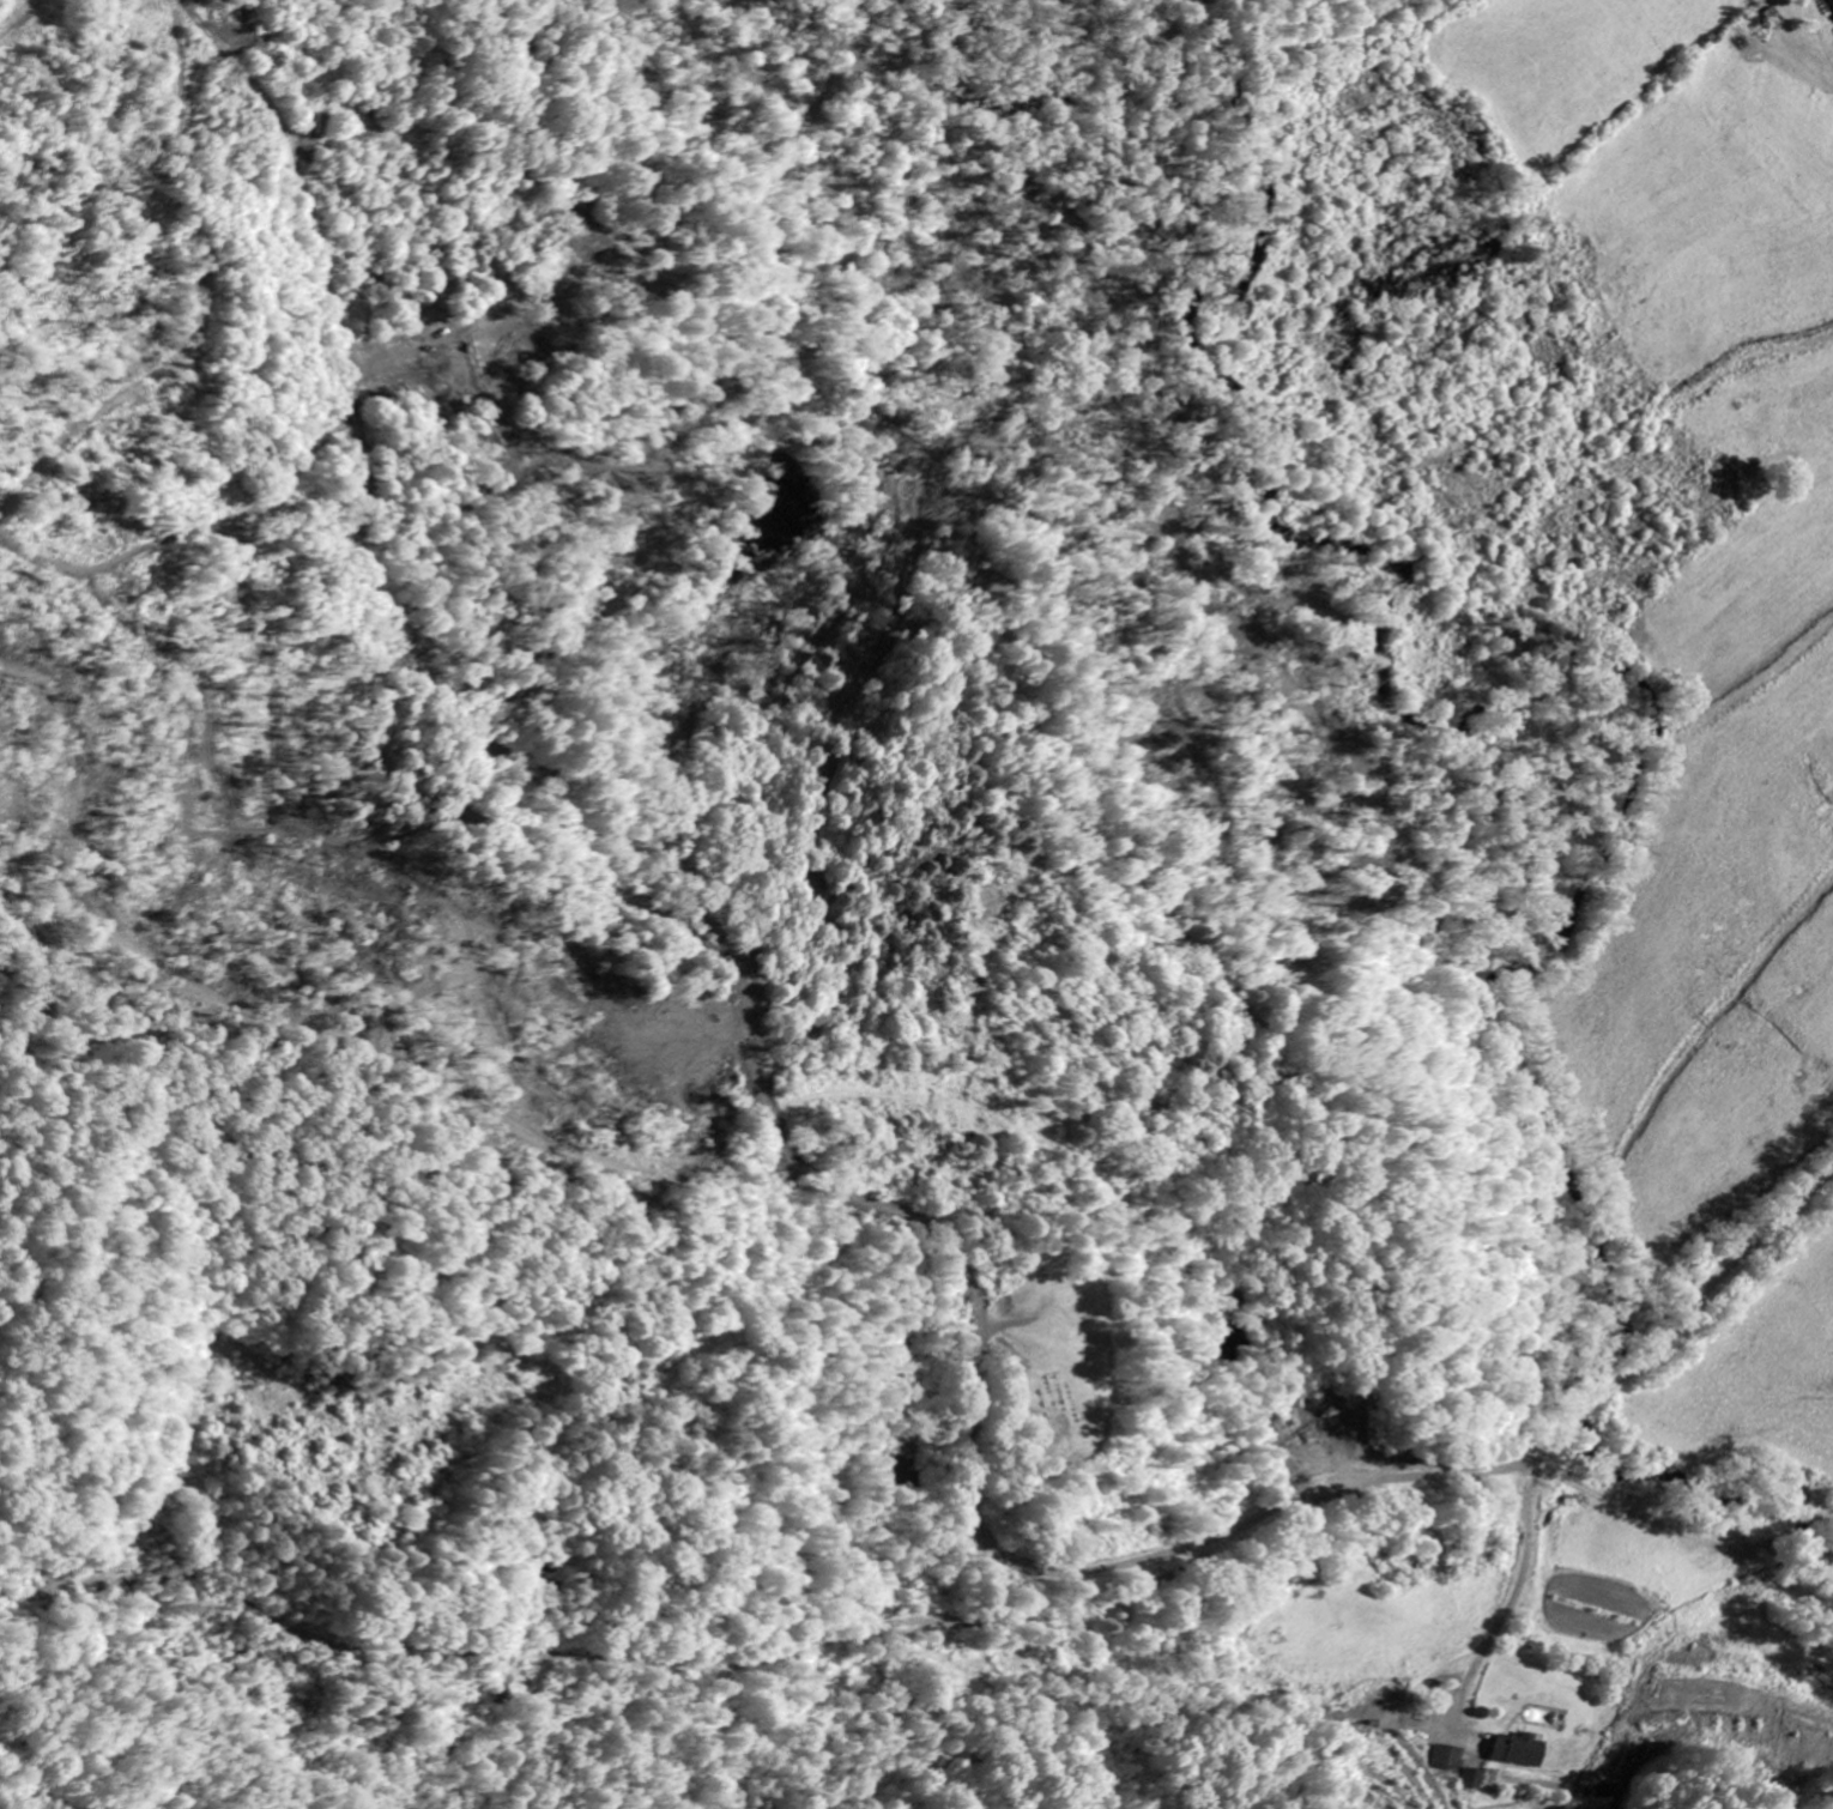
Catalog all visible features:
building: (1832, 0)
road: (1313, 1489)
building: (1518, 1750)
building: (1448, 1757)
building: (1475, 1778)

